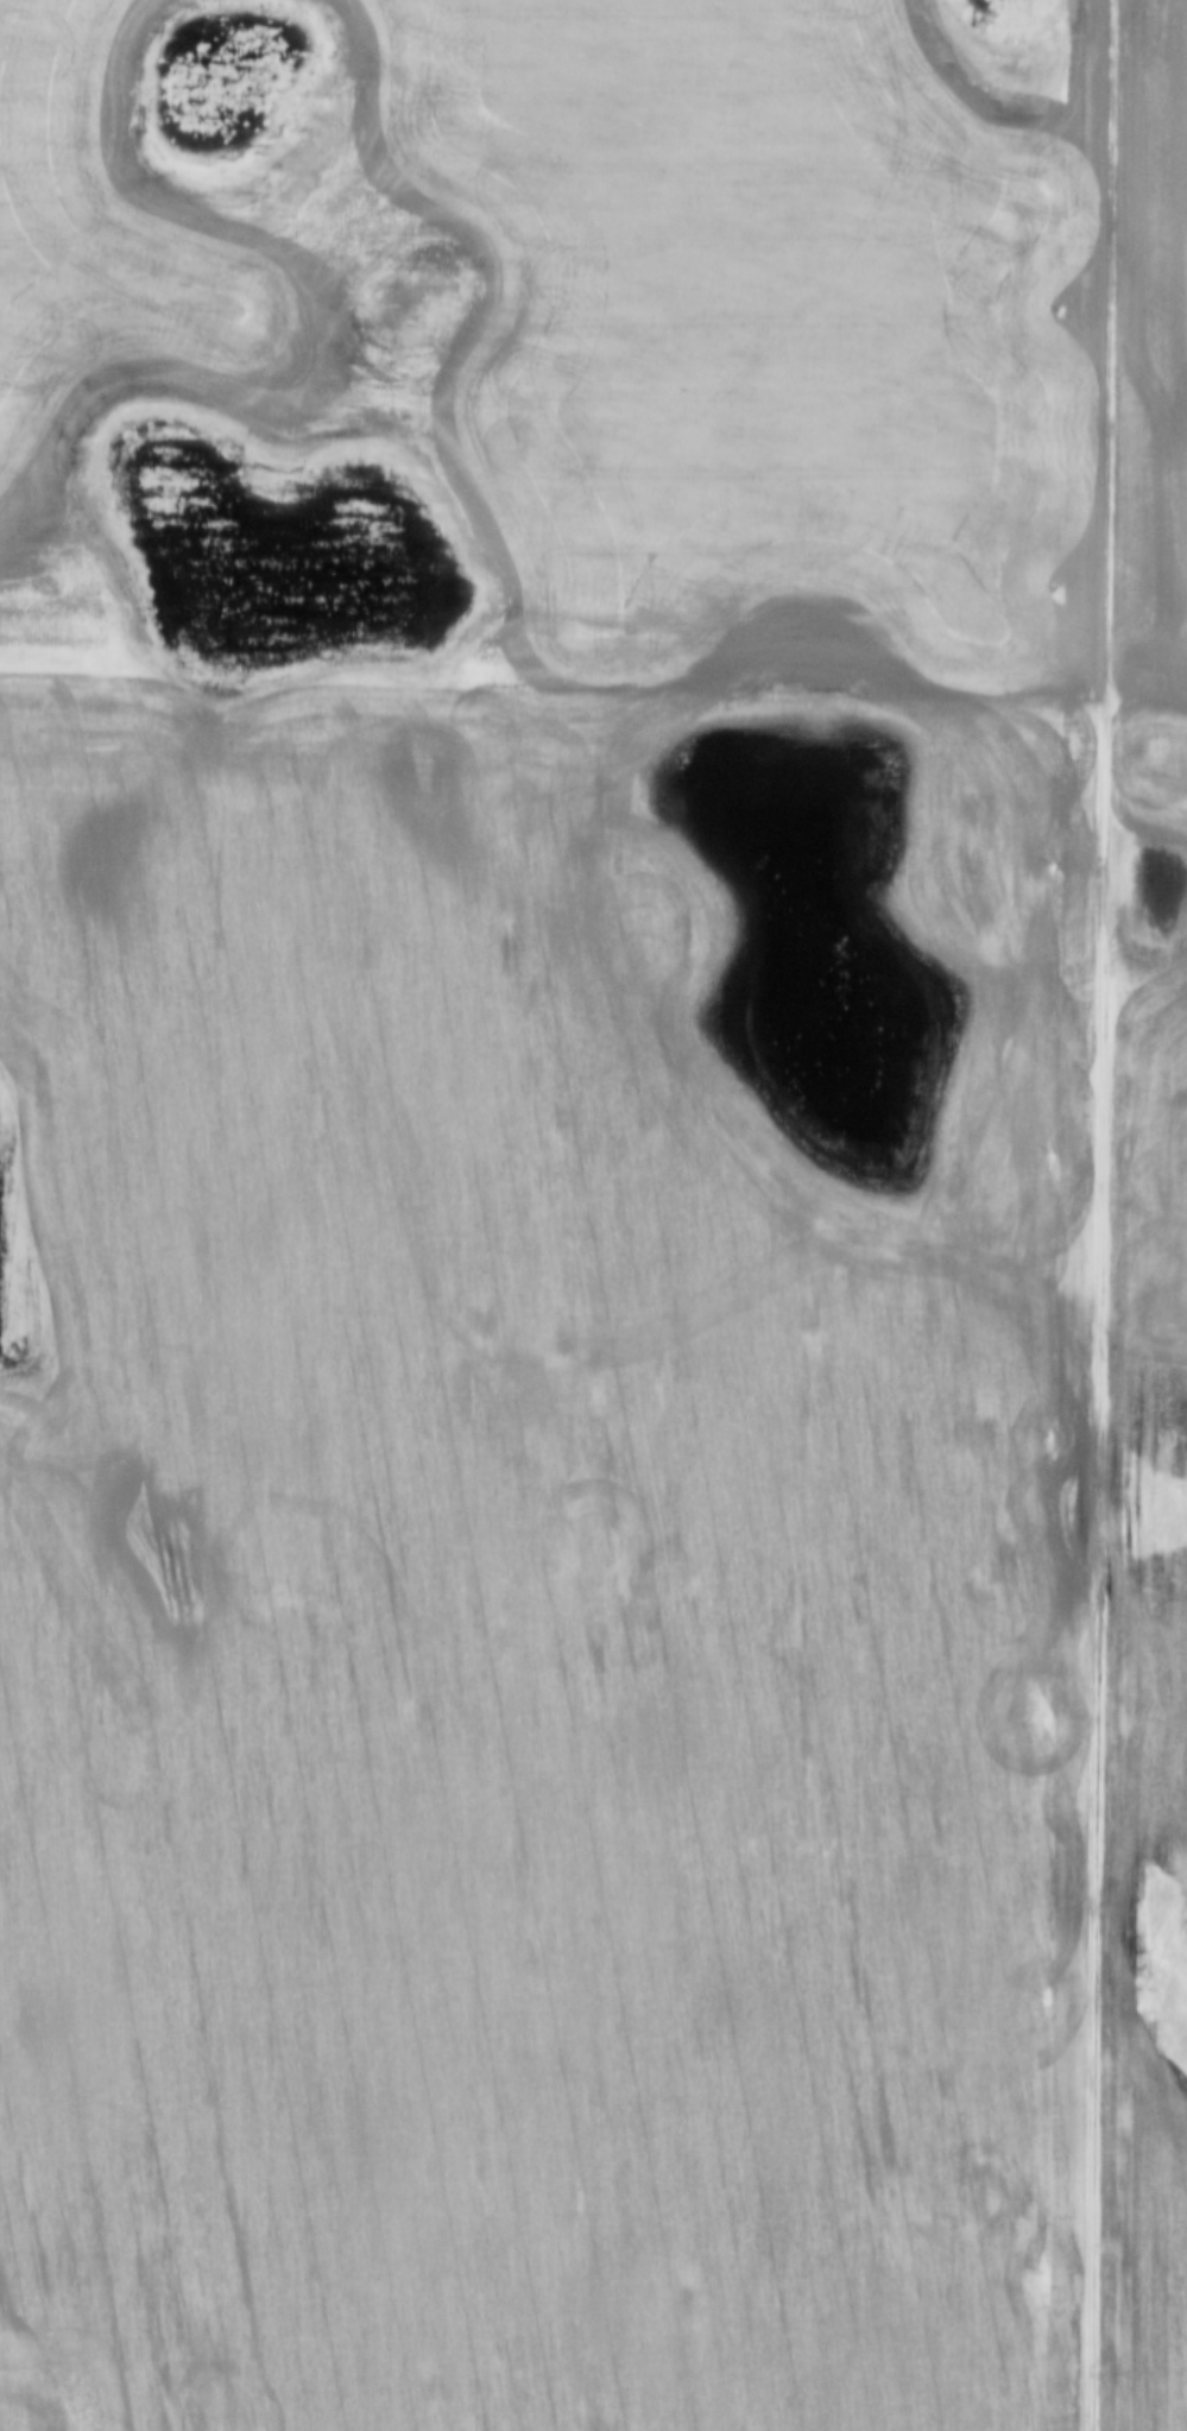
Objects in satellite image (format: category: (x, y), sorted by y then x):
road: (1113, 1215)

